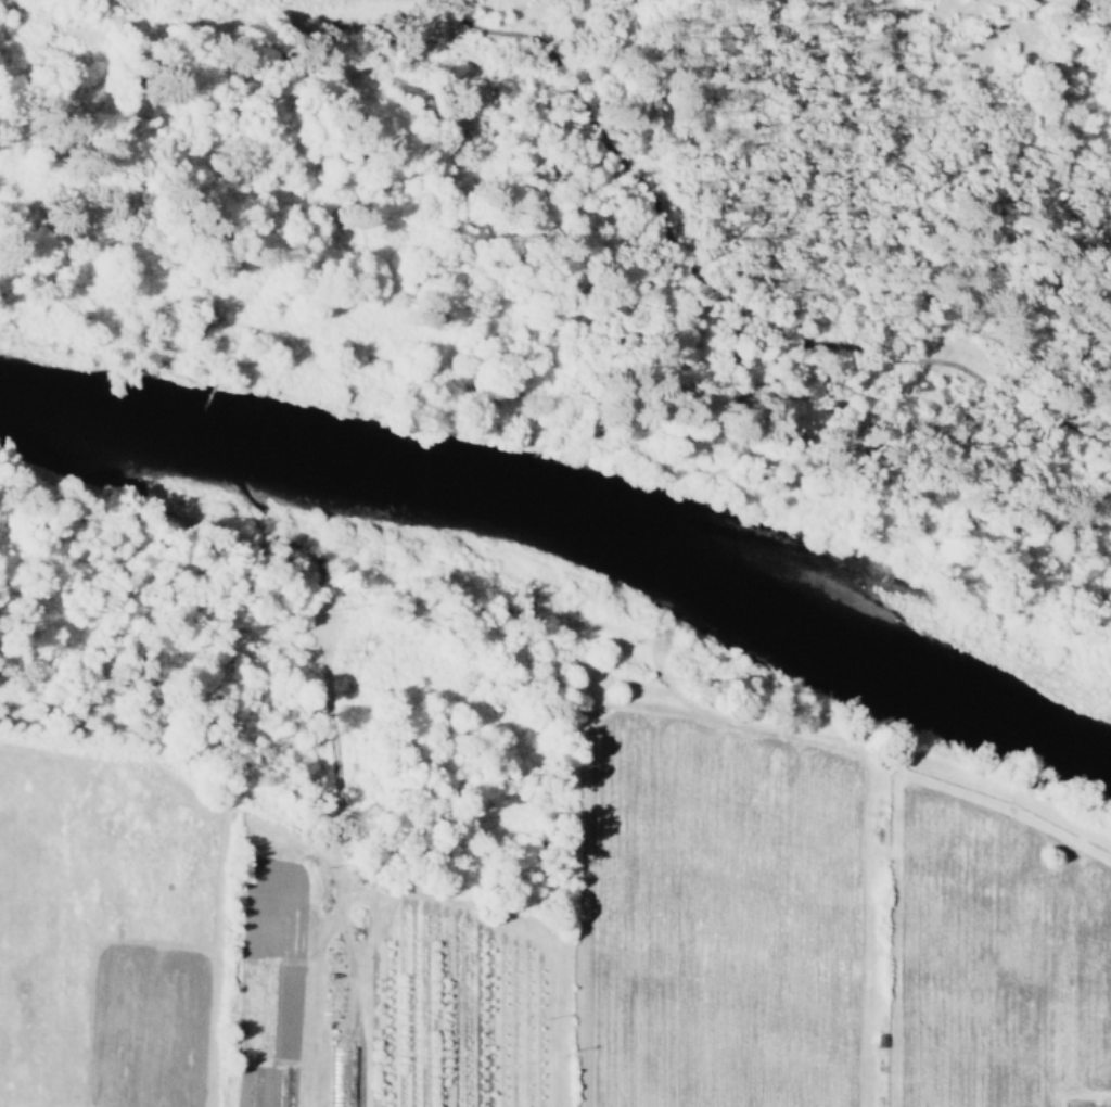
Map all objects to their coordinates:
road: (719, 287)
river: (578, 518)

